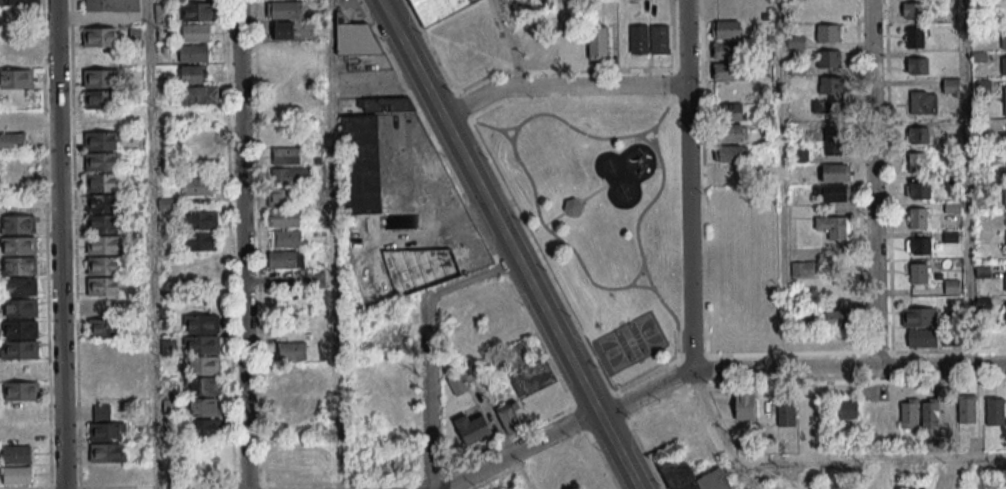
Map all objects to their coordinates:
building: (18, 2)
building: (111, 5)
building: (436, 9)
building: (284, 10)
building: (912, 10)
building: (163, 11)
building: (197, 11)
building: (727, 29)
building: (284, 31)
building: (197, 32)
building: (829, 32)
building: (99, 37)
building: (354, 37)
building: (914, 38)
building: (638, 39)
building: (659, 39)
building: (1003, 39)
road: (330, 42)
building: (597, 42)
building: (15, 43)
road: (507, 43)
building: (727, 50)
building: (194, 53)
road: (410, 58)
building: (828, 58)
building: (1003, 64)
building: (917, 65)
building: (729, 71)
building: (193, 74)
building: (98, 78)
building: (17, 79)
building: (829, 85)
road: (560, 86)
building: (199, 95)
building: (1004, 100)
building: (921, 102)
building: (101, 110)
building: (731, 111)
building: (12, 121)
building: (731, 133)
building: (918, 134)
building: (13, 141)
building: (833, 141)
building: (365, 150)
building: (730, 153)
building: (800, 154)
building: (286, 155)
building: (103, 162)
building: (916, 162)
building: (836, 171)
building: (1003, 171)
building: (291, 176)
road: (964, 183)
road: (780, 184)
road: (872, 184)
road: (687, 185)
building: (198, 186)
building: (918, 190)
building: (831, 193)
building: (1004, 196)
building: (283, 197)
building: (103, 203)
building: (572, 206)
park: (597, 216)
building: (917, 217)
building: (284, 218)
building: (202, 220)
building: (19, 224)
building: (102, 224)
building: (833, 226)
building: (949, 236)
building: (289, 239)
building: (202, 241)
road: (58, 244)
building: (104, 244)
road: (151, 244)
road: (241, 244)
building: (19, 245)
building: (918, 245)
building: (285, 260)
building: (19, 266)
park: (741, 266)
building: (422, 267)
building: (802, 268)
building: (918, 272)
building: (315, 282)
building: (1005, 282)
building: (20, 287)
road: (334, 287)
road: (538, 303)
building: (105, 307)
building: (21, 308)
building: (1005, 311)
building: (918, 316)
building: (836, 317)
building: (202, 324)
building: (103, 328)
building: (20, 329)
building: (921, 338)
park: (629, 342)
road: (425, 344)
building: (19, 349)
building: (292, 351)
building: (520, 352)
building: (202, 355)
road: (711, 369)
building: (533, 378)
building: (458, 385)
building: (21, 390)
building: (203, 397)
building: (744, 406)
building: (966, 408)
building: (848, 409)
building: (995, 410)
building: (786, 413)
building: (909, 413)
building: (929, 413)
building: (507, 418)
building: (106, 425)
building: (205, 427)
building: (472, 429)
building: (108, 453)
building: (17, 454)
road: (821, 456)
building: (390, 467)
road: (520, 472)
building: (678, 474)
building: (17, 475)
building: (914, 487)

